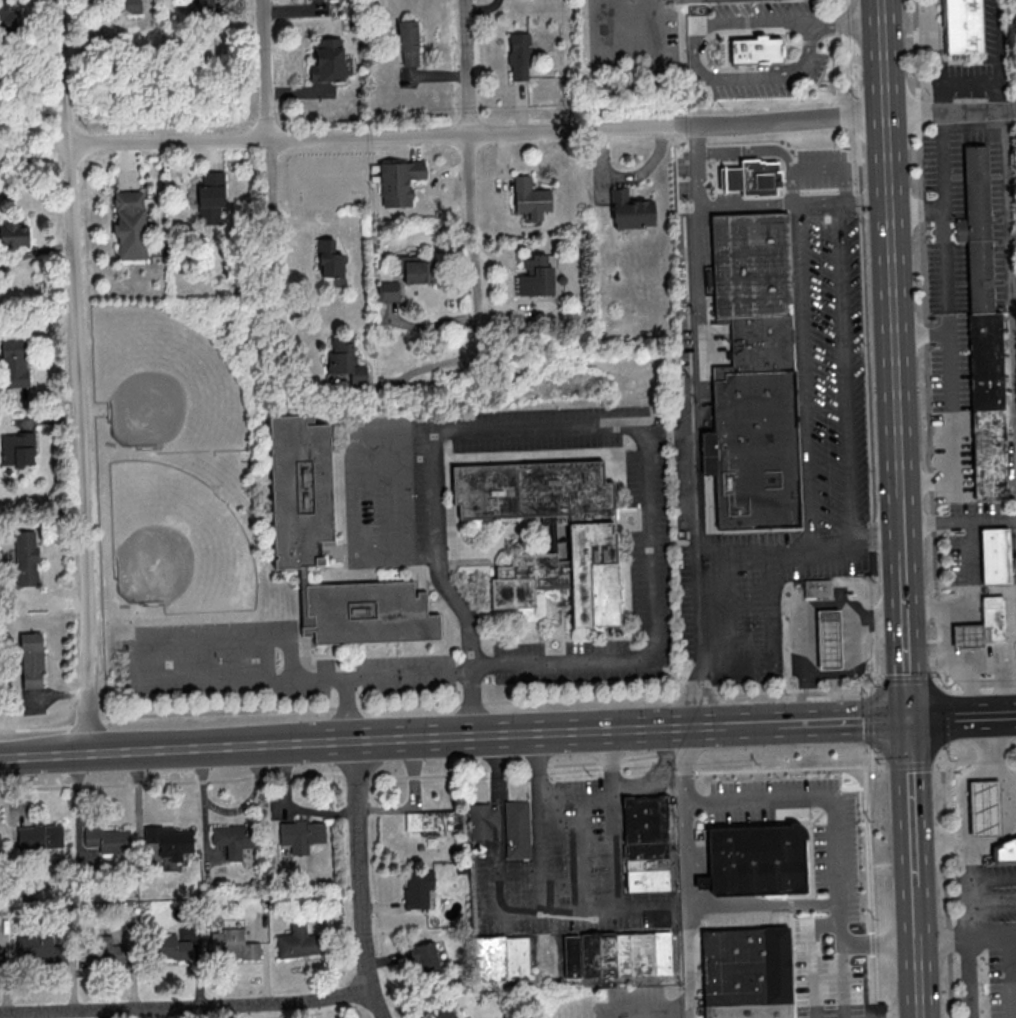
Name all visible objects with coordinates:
building: (127, 1)
building: (207, 7)
building: (7, 17)
road: (759, 22)
road: (859, 24)
road: (825, 25)
building: (964, 26)
building: (407, 41)
building: (756, 50)
road: (1000, 55)
building: (518, 56)
building: (329, 61)
road: (635, 69)
road: (748, 76)
road: (953, 81)
road: (268, 97)
road: (541, 131)
road: (33, 145)
road: (767, 149)
road: (940, 161)
road: (29, 167)
road: (834, 168)
road: (471, 177)
building: (753, 181)
building: (398, 182)
building: (210, 197)
building: (530, 198)
road: (864, 202)
road: (820, 204)
road: (748, 205)
building: (630, 210)
building: (129, 224)
building: (15, 235)
road: (943, 242)
road: (890, 248)
road: (35, 253)
building: (328, 259)
building: (415, 269)
building: (535, 277)
road: (1009, 277)
building: (387, 290)
building: (983, 331)
road: (866, 342)
road: (927, 346)
building: (344, 360)
building: (13, 363)
road: (419, 370)
road: (846, 372)
road: (804, 375)
road: (76, 376)
building: (756, 376)
park: (166, 382)
road: (950, 405)
road: (694, 425)
building: (17, 449)
park: (177, 459)
building: (302, 484)
road: (649, 489)
road: (355, 501)
road: (958, 521)
road: (901, 522)
building: (593, 536)
road: (855, 540)
park: (178, 542)
road: (755, 555)
building: (997, 556)
building: (25, 557)
building: (817, 590)
road: (968, 592)
road: (449, 594)
road: (803, 606)
road: (968, 612)
building: (994, 618)
road: (906, 632)
building: (970, 636)
gas station: (970, 636)
road: (970, 636)
building: (831, 640)
gas station: (831, 640)
road: (772, 643)
road: (971, 655)
building: (31, 659)
road: (965, 663)
road: (855, 669)
road: (442, 670)
road: (1003, 672)
road: (909, 681)
road: (149, 683)
road: (979, 690)
road: (435, 704)
road: (963, 715)
traffic signals: (910, 717)
road: (944, 717)
road: (870, 719)
road: (838, 722)
road: (738, 726)
road: (530, 732)
road: (176, 748)
road: (943, 754)
road: (870, 756)
road: (938, 763)
road: (910, 764)
road: (447, 775)
road: (666, 781)
road: (961, 791)
road: (1005, 793)
parking lot: (1012, 796)
road: (760, 797)
road: (912, 801)
building: (987, 808)
gas station: (987, 808)
building: (481, 820)
building: (432, 821)
building: (518, 830)
building: (300, 834)
building: (39, 835)
building: (233, 838)
building: (107, 839)
building: (169, 840)
building: (648, 843)
road: (945, 853)
building: (1006, 853)
building: (0, 855)
road: (613, 855)
building: (758, 861)
road: (360, 879)
road: (991, 879)
building: (417, 888)
road: (868, 892)
parking lot: (1000, 892)
road: (991, 903)
road: (725, 904)
road: (521, 913)
road: (917, 913)
road: (822, 925)
road: (967, 927)
road: (1009, 928)
road: (1003, 937)
building: (296, 941)
building: (231, 944)
building: (170, 947)
building: (38, 949)
building: (106, 950)
building: (619, 955)
building: (423, 959)
building: (502, 959)
road: (843, 960)
road: (690, 961)
building: (749, 973)
parking lot: (1002, 979)
road: (919, 980)
road: (188, 1006)
road: (675, 1009)
road: (627, 1011)
building: (443, 1013)
road: (658, 1014)

